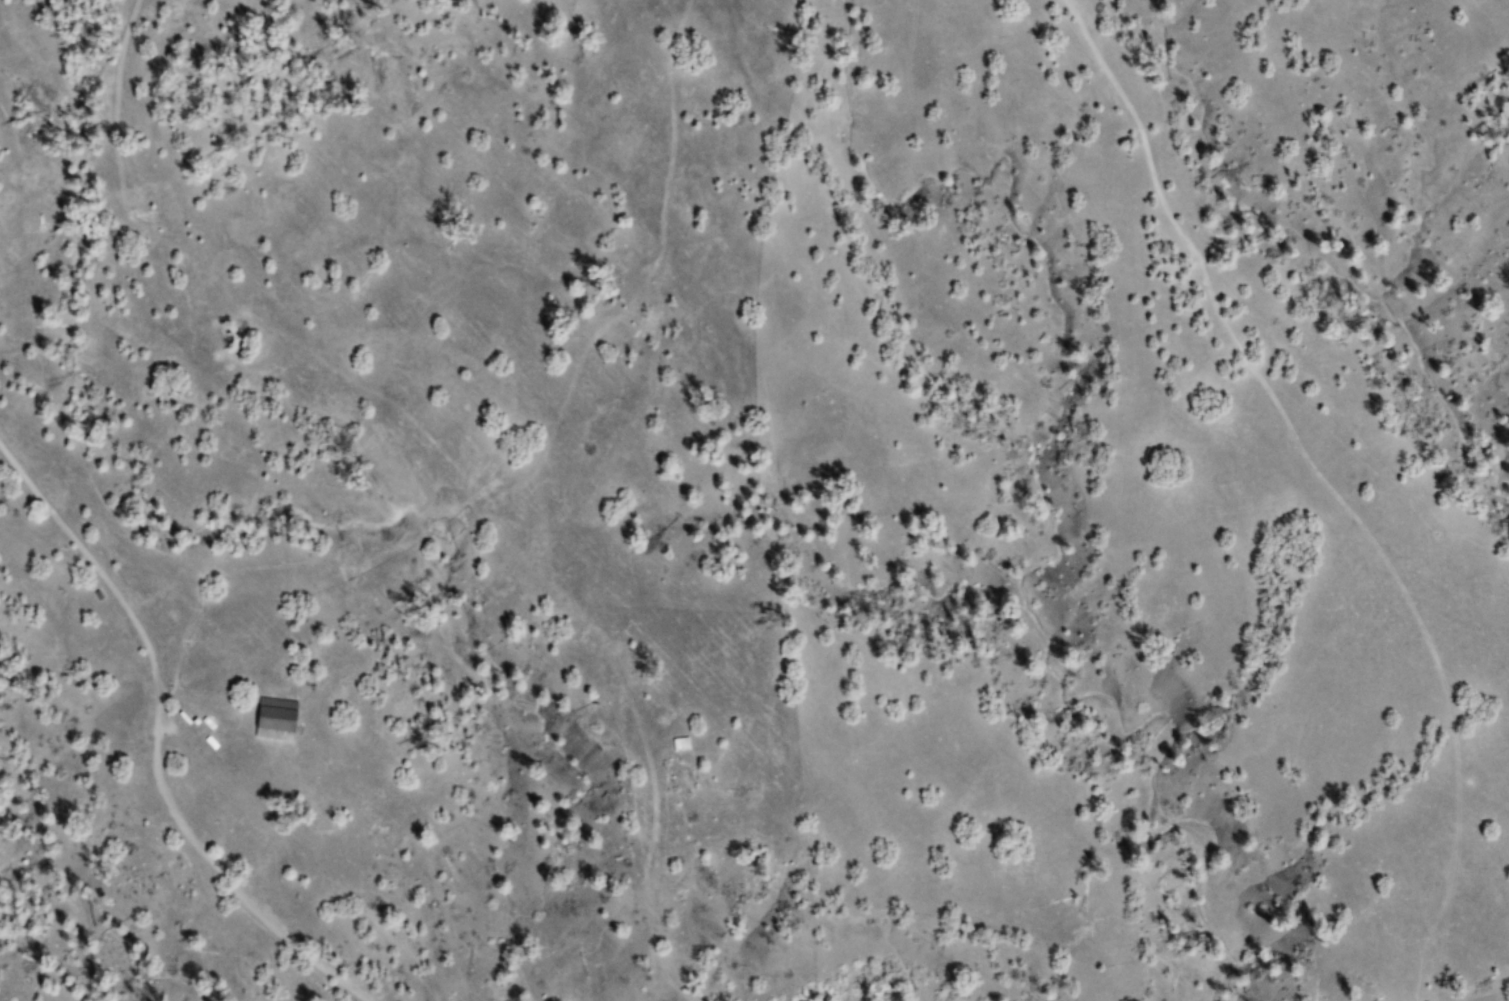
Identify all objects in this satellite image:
building: (275, 719)
road: (170, 729)

